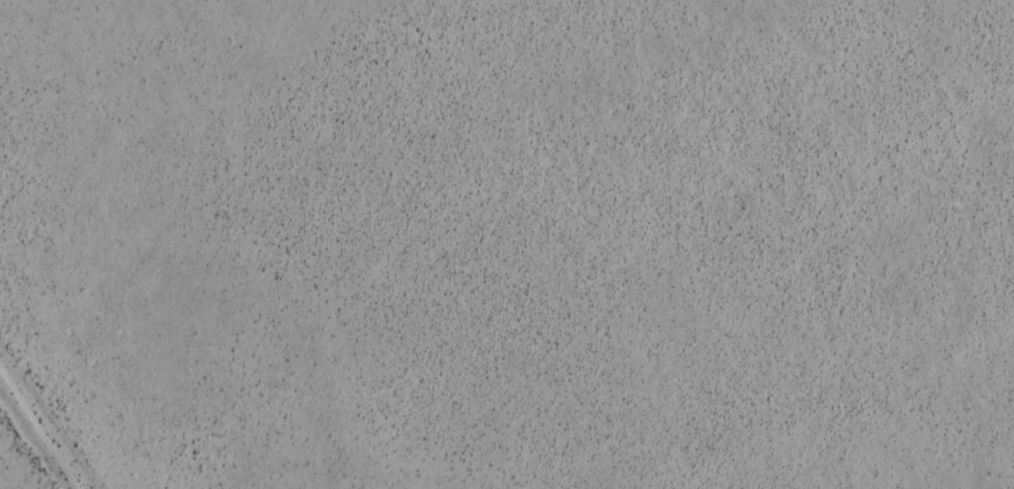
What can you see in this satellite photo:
road: (47, 428)

